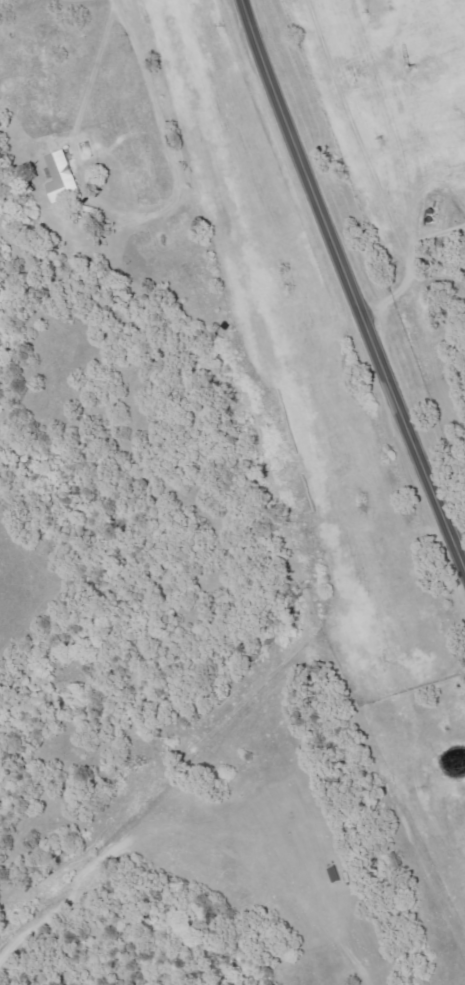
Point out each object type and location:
road: (159, 129)
building: (62, 176)
road: (350, 285)

